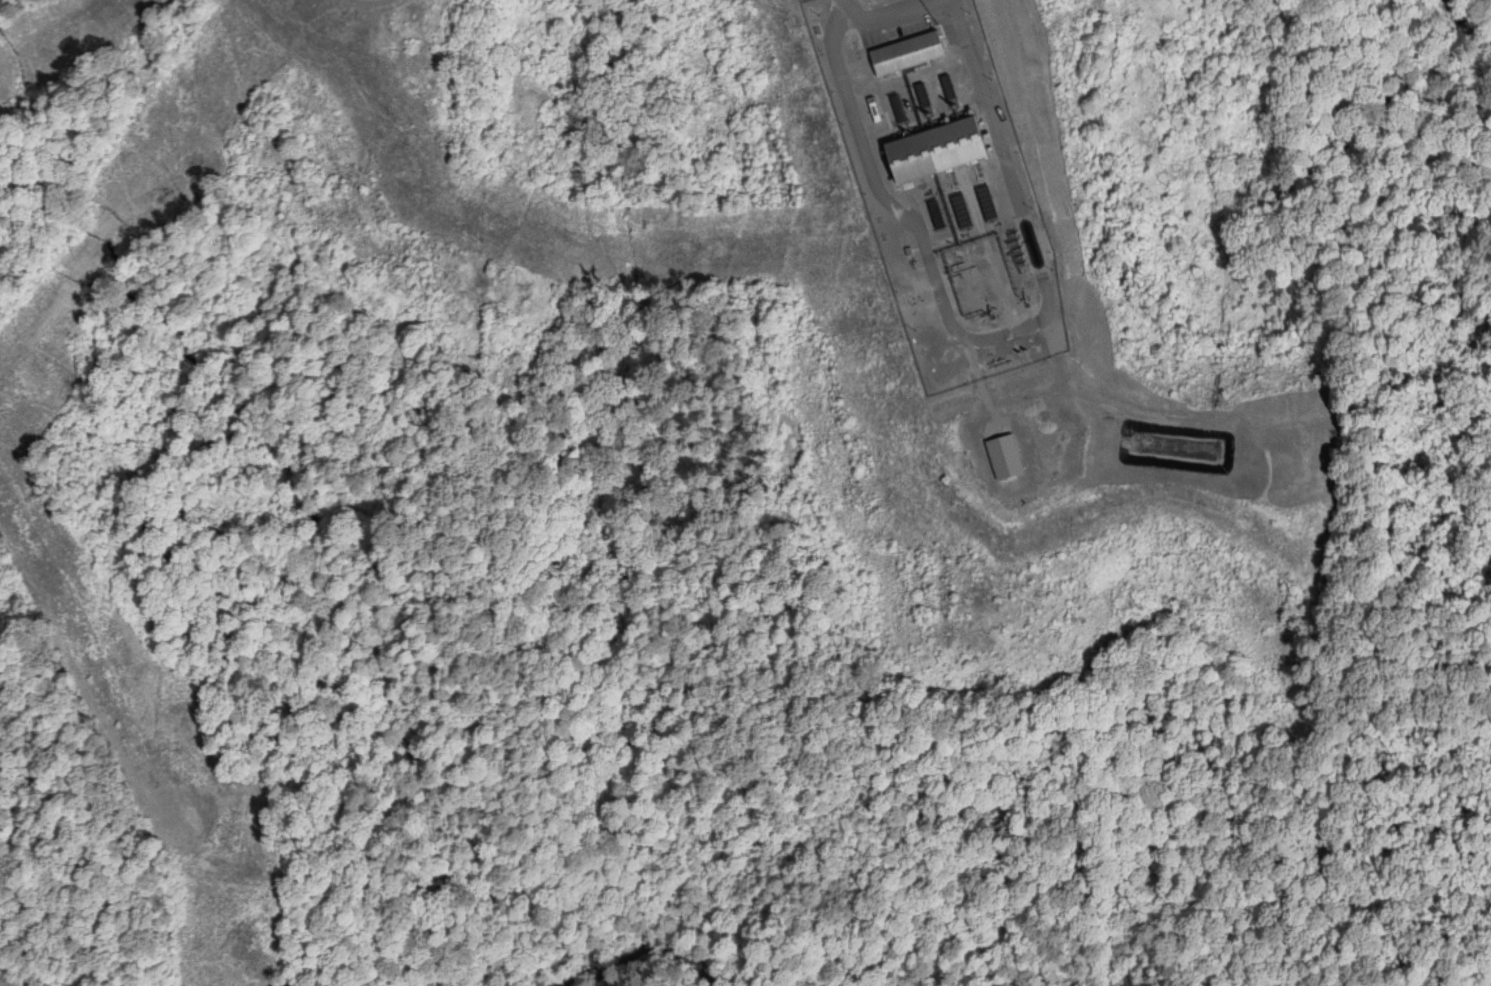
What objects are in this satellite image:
road: (363, 0)
road: (844, 6)

